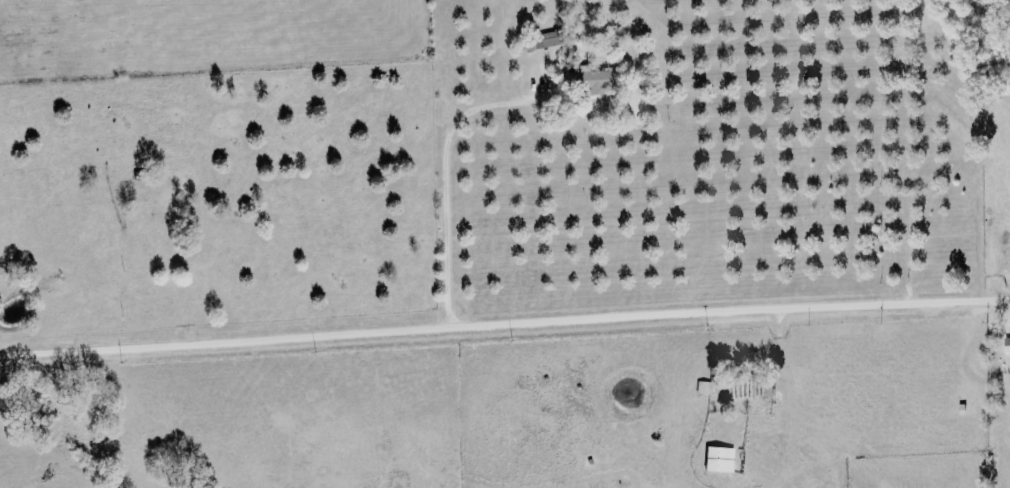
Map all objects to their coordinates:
building: (542, 40)
building: (593, 79)
road: (504, 326)
building: (1006, 344)
building: (703, 386)
building: (719, 458)

